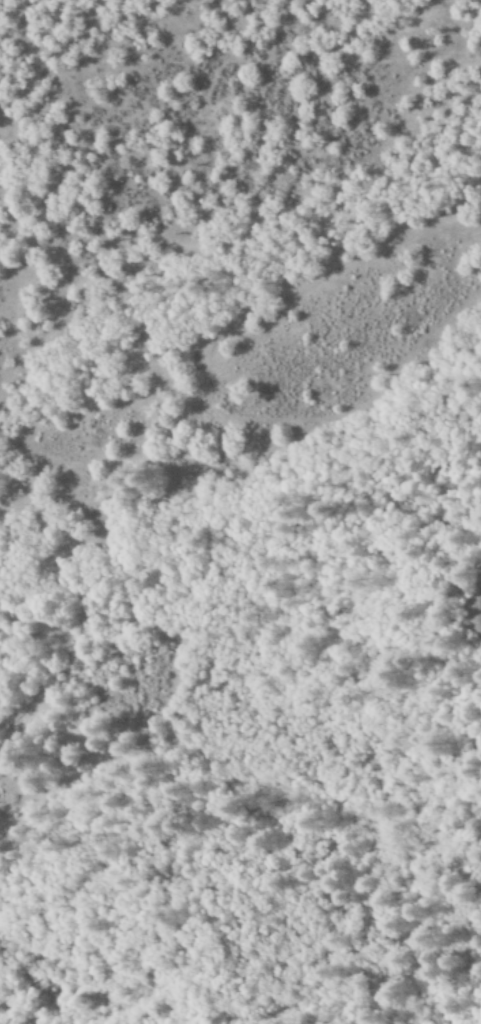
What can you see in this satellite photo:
road: (480, 593)

